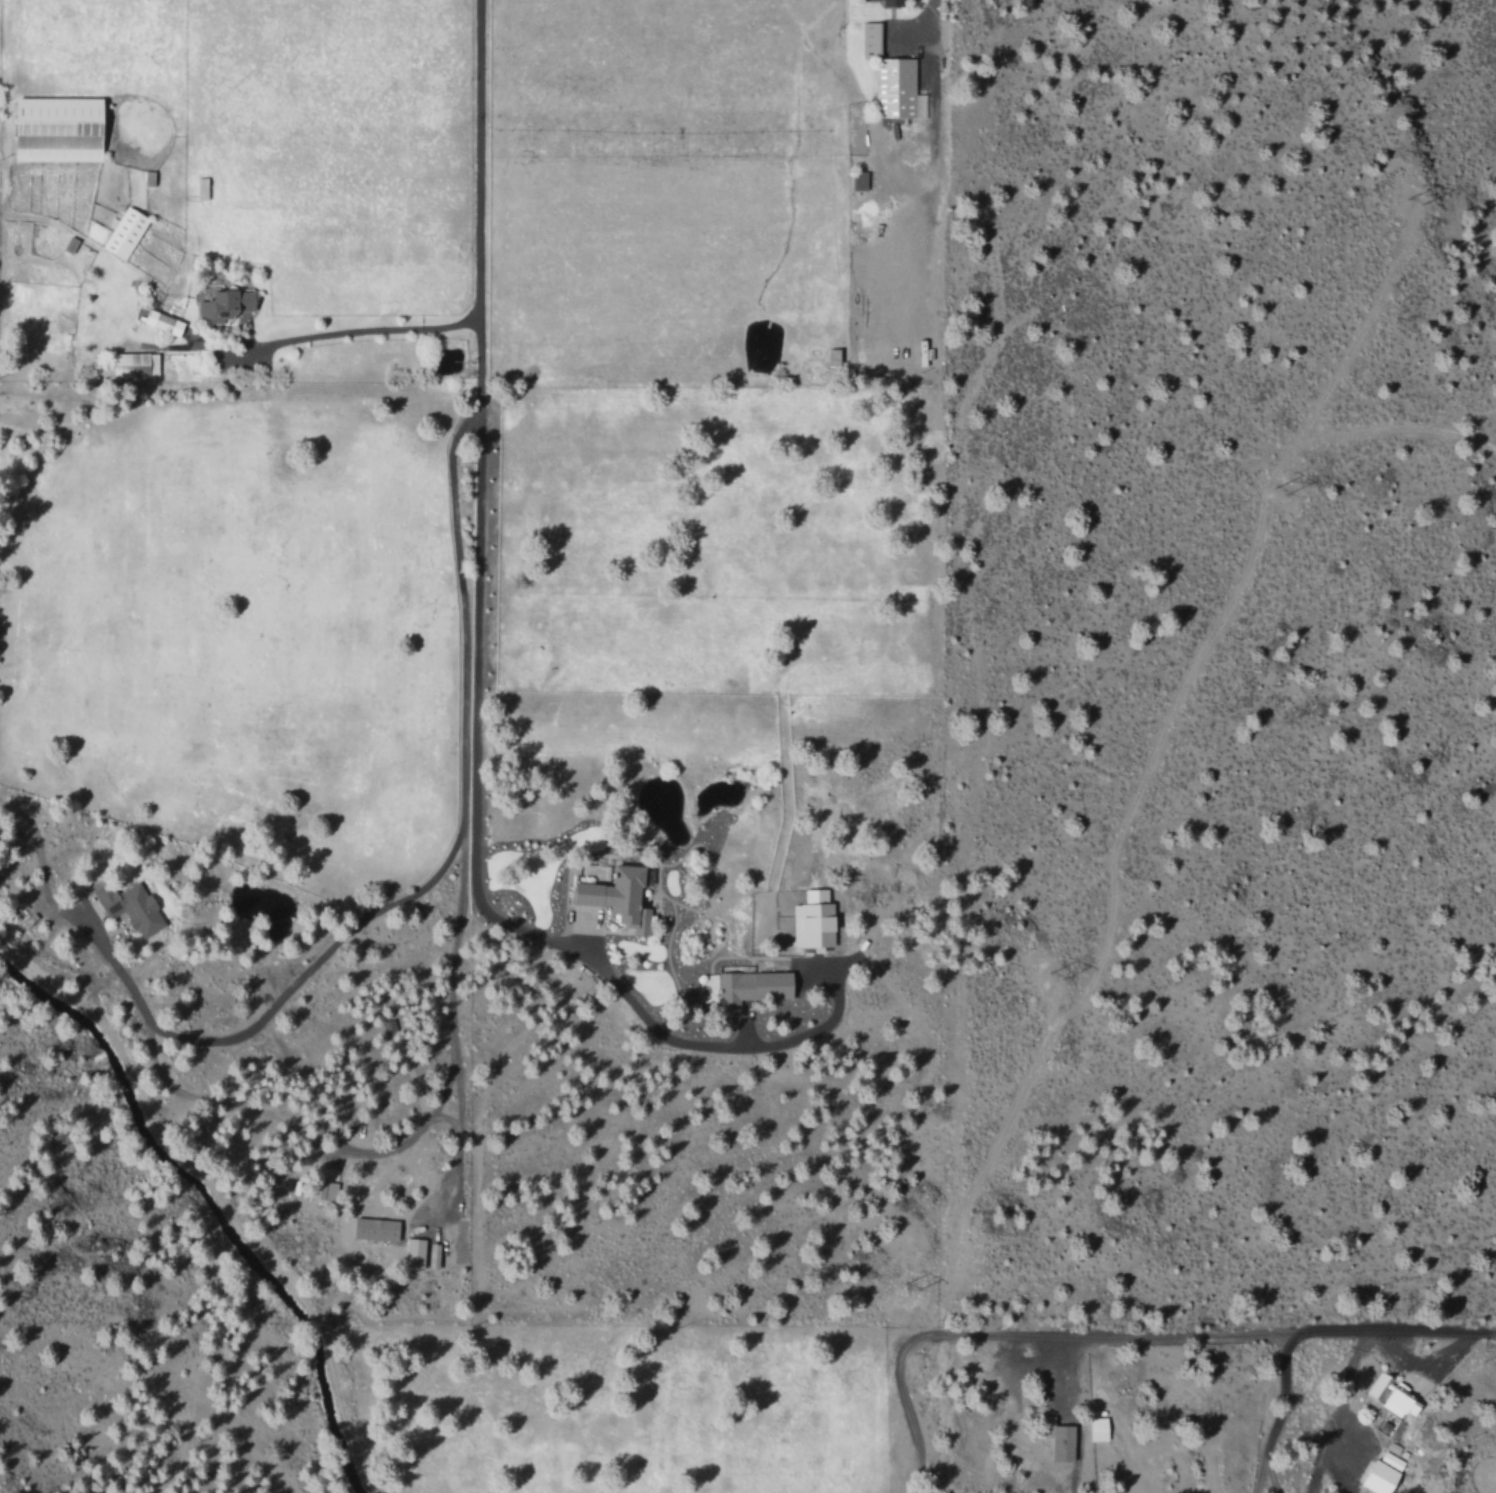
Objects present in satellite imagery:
building: (890, 2)
road: (930, 10)
building: (889, 76)
building: (54, 128)
building: (857, 179)
power tower: (1422, 193)
building: (123, 232)
building: (223, 303)
building: (161, 321)
road: (481, 343)
building: (132, 364)
power tower: (1283, 482)
road: (435, 875)
building: (615, 896)
building: (128, 905)
building: (811, 918)
road: (590, 958)
power tower: (1059, 968)
building: (752, 984)
building: (321, 1187)
building: (373, 1227)
building: (413, 1251)
building: (431, 1254)
power tower: (917, 1273)
road: (1486, 1334)
building: (1096, 1427)
building: (1056, 1437)
building: (1380, 1472)

